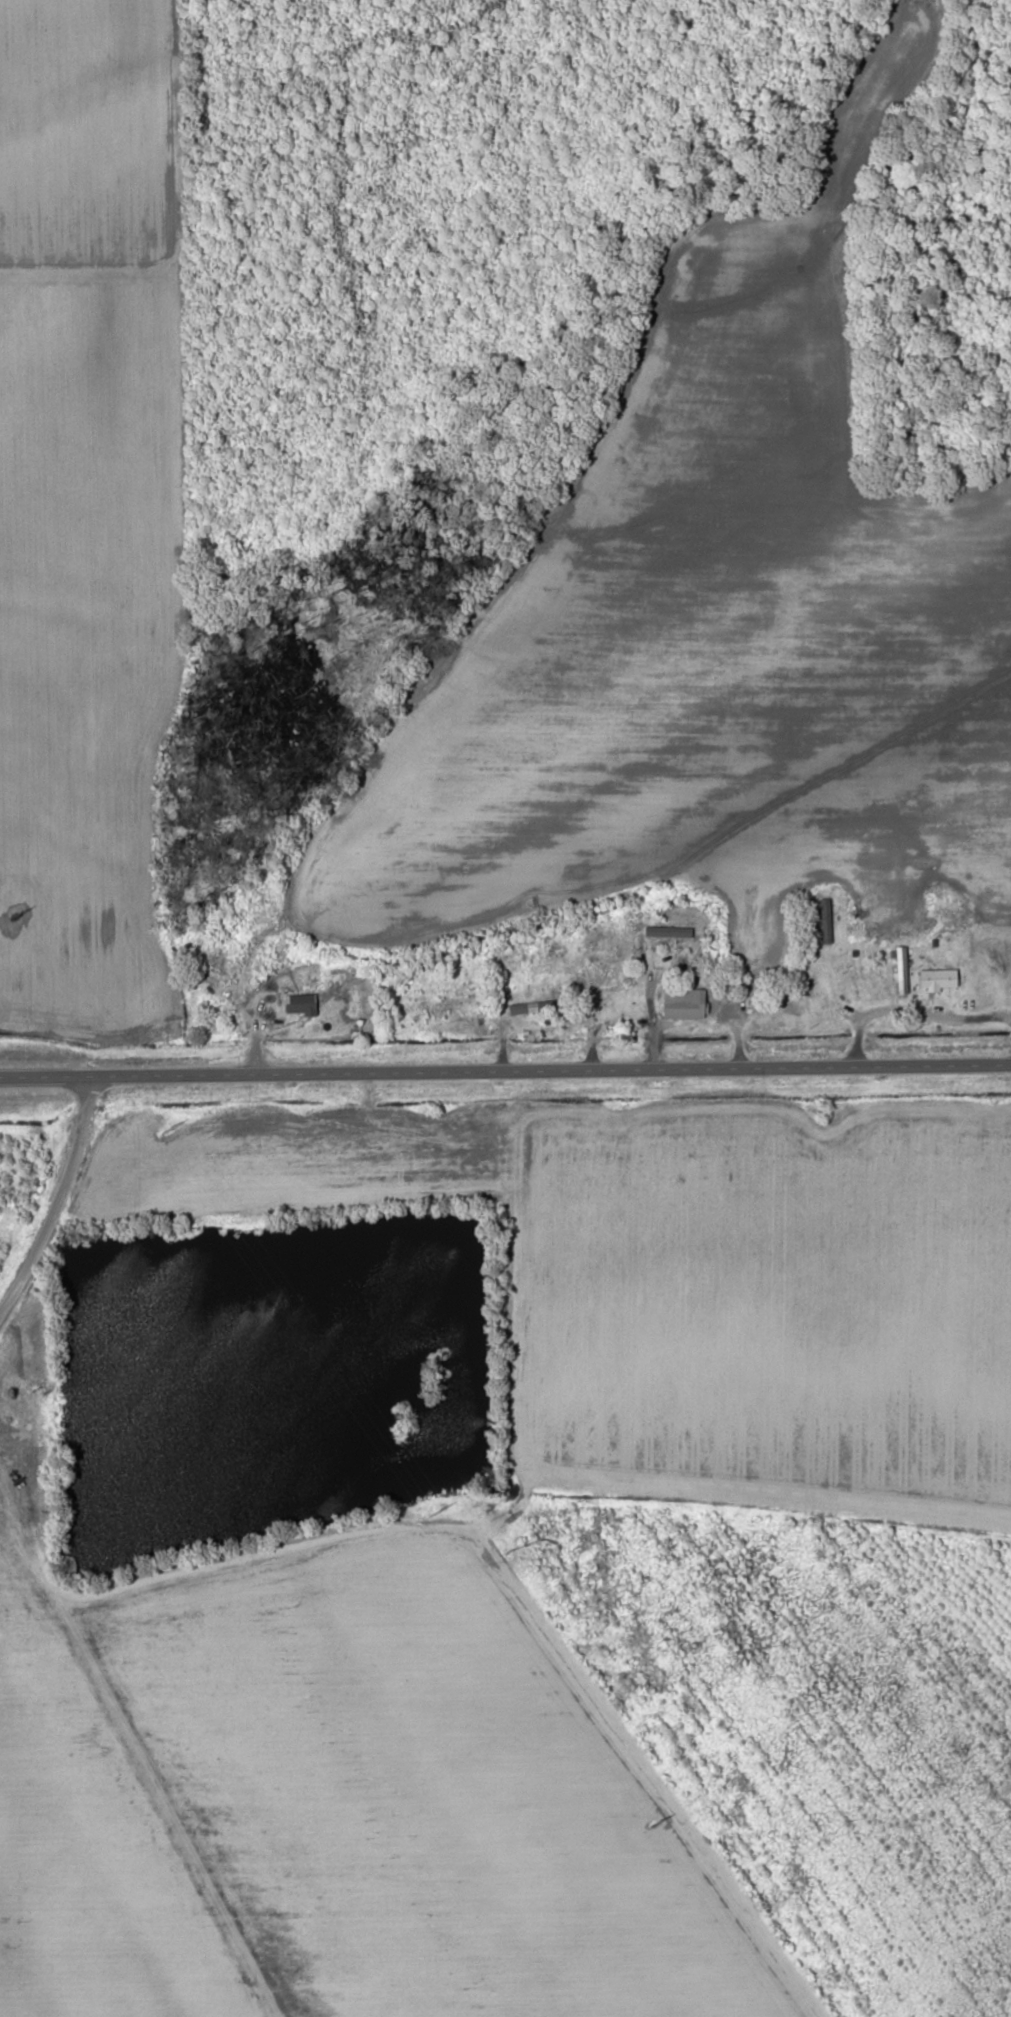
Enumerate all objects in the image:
power tower: (17, 916)
building: (825, 921)
building: (669, 932)
building: (617, 942)
building: (213, 955)
building: (619, 959)
building: (903, 969)
building: (940, 979)
building: (683, 1003)
building: (302, 1004)
building: (533, 1008)
road: (914, 1014)
road: (505, 1068)
power tower: (167, 1128)
road: (56, 1201)
building: (2, 1503)
power tower: (439, 1512)
road: (480, 1523)
road: (669, 1771)
power tower: (655, 1820)
road: (7, 1998)

